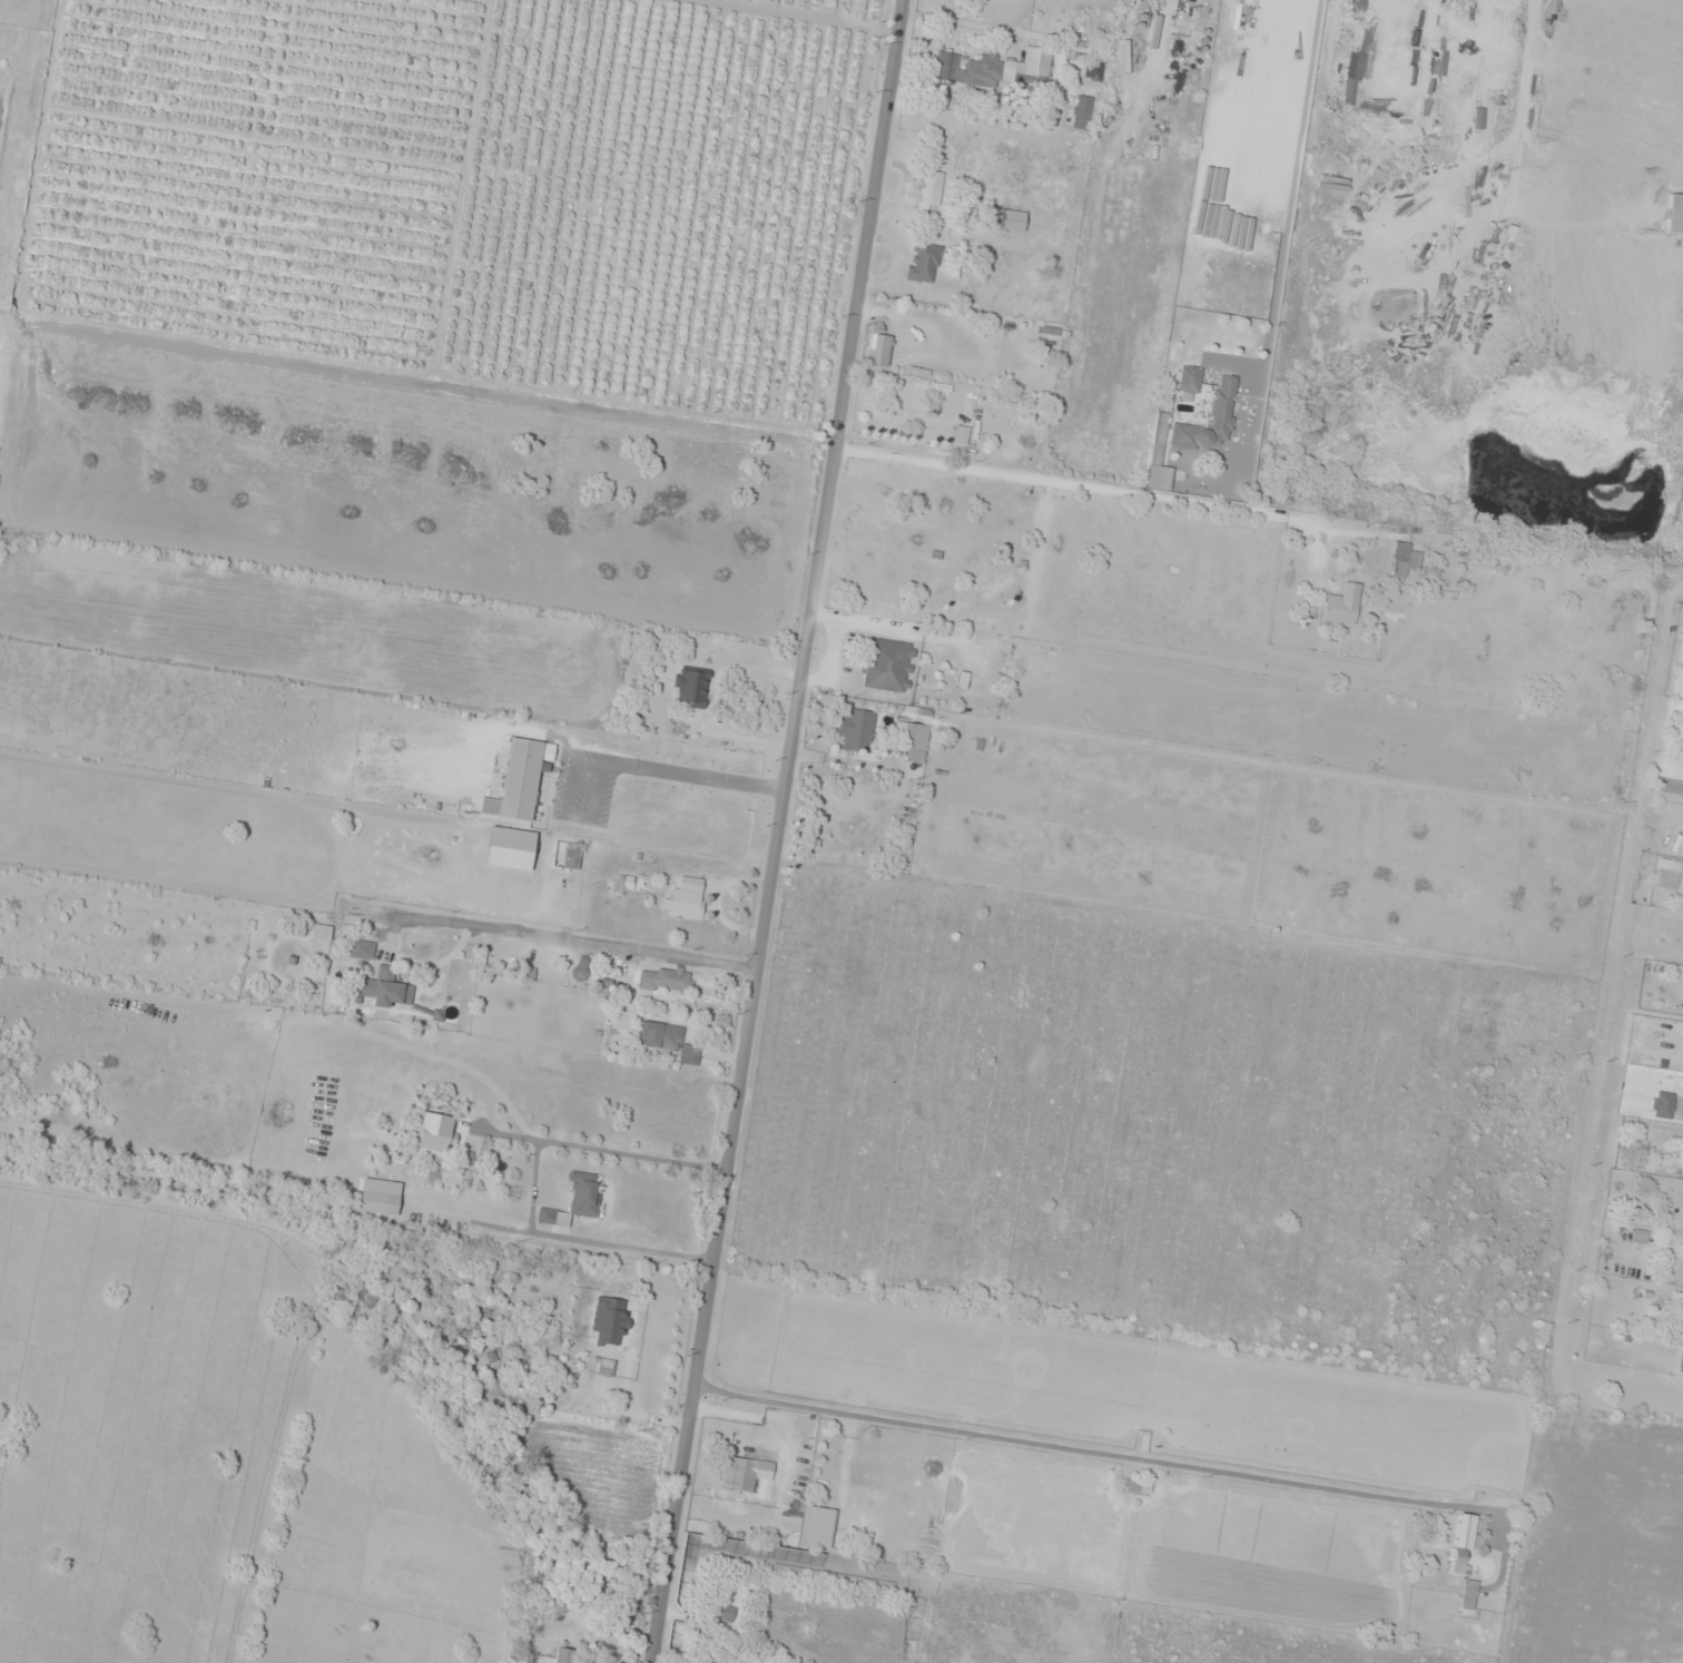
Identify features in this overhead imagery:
building: (995, 69)
building: (1093, 71)
building: (1082, 112)
building: (929, 190)
building: (1675, 214)
building: (1011, 220)
building: (924, 263)
building: (878, 351)
building: (1189, 378)
building: (1211, 419)
building: (971, 425)
building: (1159, 478)
building: (1404, 560)
building: (1341, 607)
building: (888, 666)
building: (691, 689)
building: (853, 734)
building: (912, 742)
building: (519, 780)
road: (1672, 786)
road: (776, 831)
building: (571, 856)
building: (1667, 874)
building: (686, 898)
building: (362, 949)
building: (580, 968)
building: (667, 980)
building: (382, 988)
building: (668, 1041)
road: (494, 1103)
building: (1662, 1104)
building: (433, 1131)
building: (378, 1202)
building: (1680, 1320)
building: (1681, 1360)
building: (606, 1367)
building: (738, 1474)
building: (1139, 1486)
building: (819, 1527)
building: (1466, 1541)
building: (1469, 1595)
building: (562, 1657)

